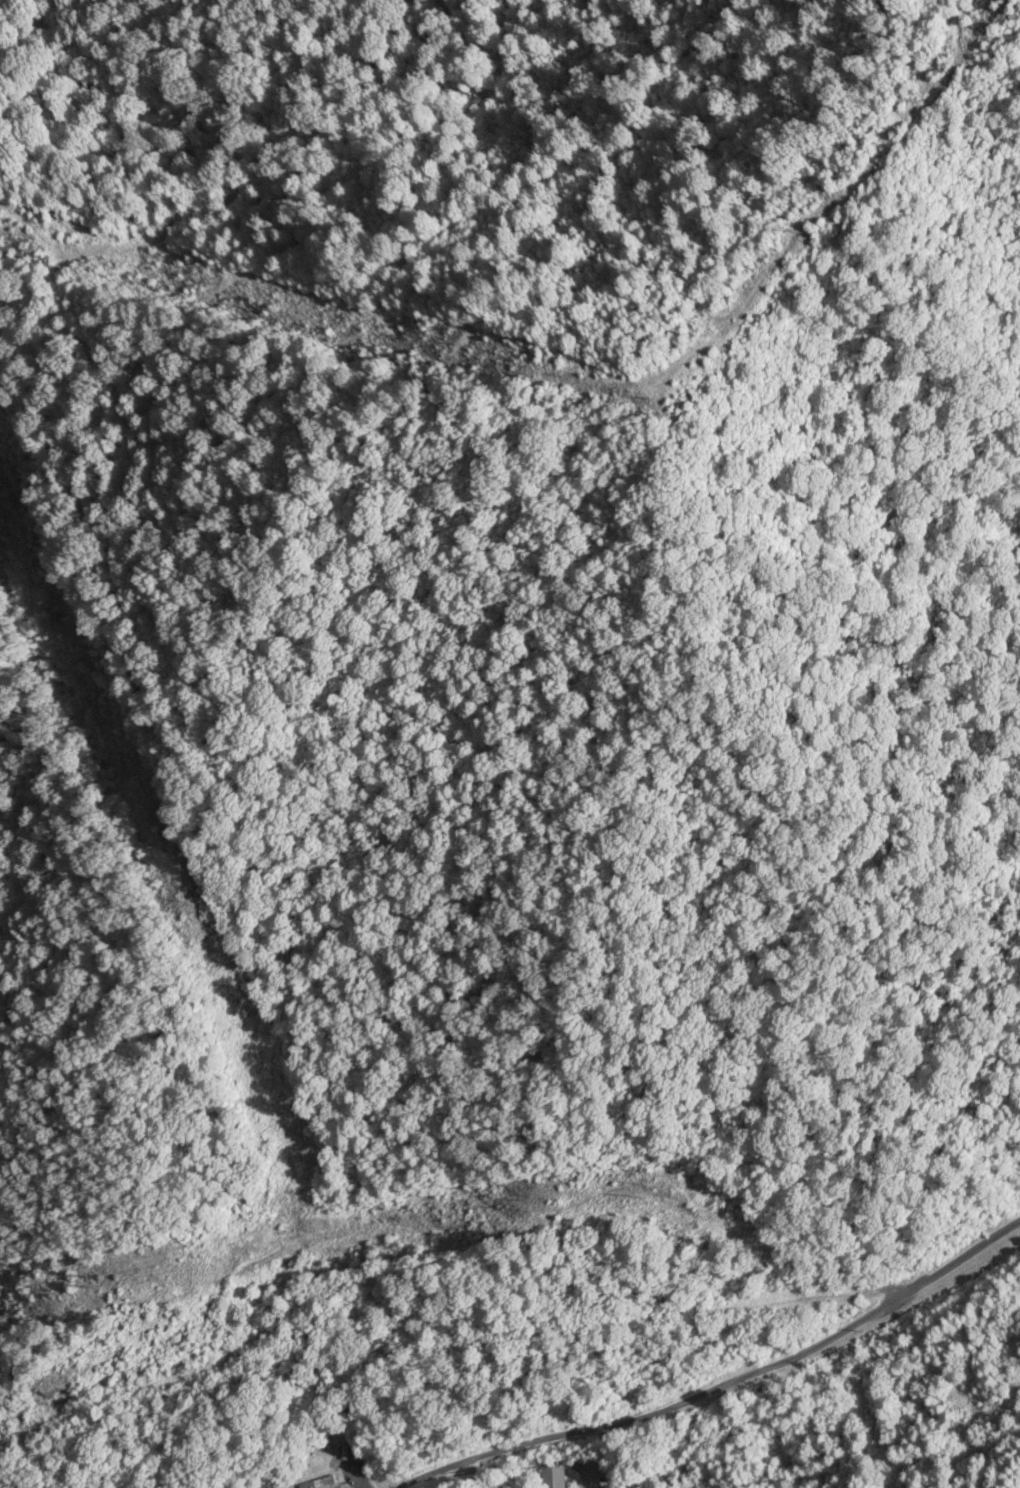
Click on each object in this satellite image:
road: (724, 1384)
building: (326, 1479)

